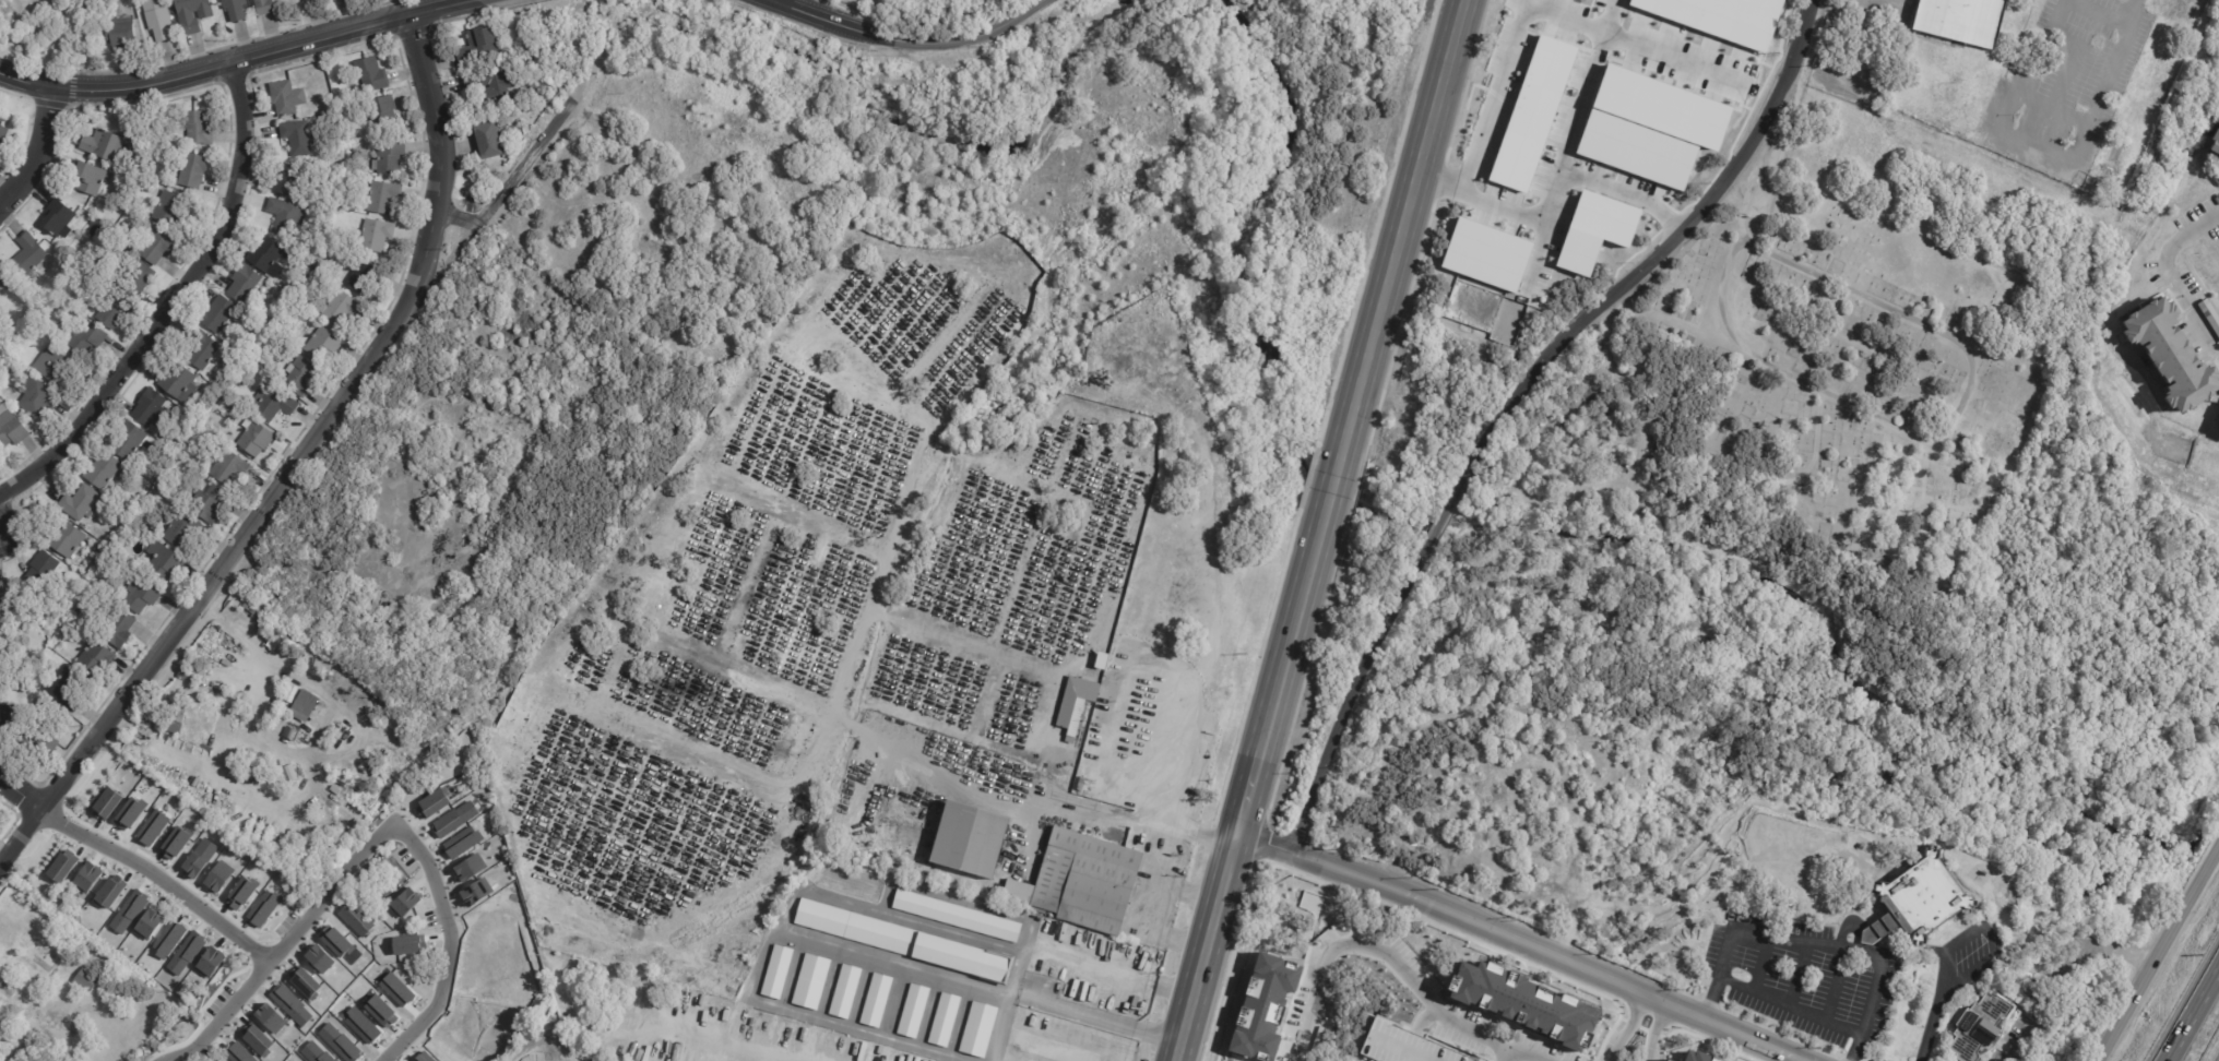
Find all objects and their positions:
building: (273, 0)
road: (775, 0)
building: (308, 1)
road: (1840, 2)
road: (1540, 7)
building: (262, 8)
building: (233, 10)
road: (2105, 10)
road: (2132, 10)
building: (192, 14)
building: (155, 19)
building: (1965, 20)
road: (828, 22)
building: (119, 33)
road: (971, 40)
road: (1838, 41)
road: (1872, 45)
building: (480, 46)
road: (237, 62)
building: (370, 74)
building: (495, 85)
road: (1583, 85)
building: (283, 97)
building: (383, 110)
building: (1532, 114)
building: (197, 127)
building: (2, 130)
road: (2003, 132)
building: (295, 136)
building: (489, 141)
building: (2214, 143)
building: (102, 144)
building: (352, 145)
road: (35, 151)
building: (388, 156)
building: (193, 169)
building: (90, 178)
building: (284, 178)
road: (511, 181)
building: (145, 187)
road: (1554, 192)
building: (383, 196)
building: (167, 210)
building: (283, 216)
building: (55, 217)
road: (1404, 228)
building: (1595, 231)
building: (376, 235)
building: (156, 245)
building: (1486, 255)
building: (27, 257)
building: (266, 258)
road: (1647, 264)
building: (137, 277)
building: (363, 277)
road: (2171, 277)
building: (3, 279)
building: (242, 283)
road: (169, 305)
building: (300, 308)
building: (343, 310)
building: (112, 311)
building: (219, 313)
building: (2209, 314)
building: (85, 337)
building: (322, 345)
park: (1868, 346)
building: (202, 351)
building: (2169, 355)
building: (51, 361)
building: (299, 377)
building: (177, 382)
building: (36, 398)
road: (882, 398)
building: (272, 403)
building: (150, 408)
building: (209, 419)
building: (11, 430)
building: (254, 439)
building: (126, 440)
building: (179, 441)
road: (295, 465)
building: (228, 467)
building: (100, 470)
road: (1332, 488)
road: (721, 490)
building: (78, 503)
building: (207, 504)
road: (1036, 513)
road: (1440, 524)
building: (181, 528)
railway: (1337, 529)
building: (63, 541)
building: (98, 552)
building: (162, 562)
building: (40, 571)
building: (140, 596)
building: (10, 603)
building: (375, 606)
building: (252, 610)
road: (866, 610)
building: (260, 627)
building: (119, 630)
building: (390, 633)
building: (210, 652)
building: (95, 658)
road: (1022, 660)
building: (35, 668)
building: (188, 672)
road: (1093, 672)
building: (236, 675)
building: (244, 683)
road: (1186, 686)
building: (64, 688)
road: (1356, 691)
building: (287, 702)
building: (305, 704)
building: (10, 714)
building: (174, 716)
building: (1077, 718)
building: (295, 724)
road: (359, 734)
road: (239, 735)
road: (667, 738)
building: (43, 741)
road: (925, 768)
road: (1248, 789)
road: (20, 794)
building: (107, 804)
building: (432, 804)
road: (1057, 807)
building: (0, 811)
building: (130, 814)
building: (454, 820)
building: (152, 827)
building: (1044, 836)
building: (966, 838)
building: (462, 843)
building: (175, 844)
parking lot: (405, 857)
building: (200, 858)
building: (63, 867)
building: (471, 868)
building: (88, 877)
building: (218, 877)
road: (159, 878)
road: (532, 879)
building: (1082, 882)
building: (110, 892)
building: (476, 893)
building: (240, 894)
road: (796, 897)
power tower: (2138, 902)
building: (404, 903)
building: (1923, 903)
road: (1143, 905)
building: (263, 908)
building: (129, 913)
building: (956, 917)
parking lot: (430, 918)
building: (356, 920)
parking lot: (284, 923)
building: (149, 925)
road: (294, 933)
road: (1377, 933)
road: (1984, 933)
building: (169, 938)
building: (335, 941)
building: (905, 942)
road: (1522, 942)
road: (449, 944)
road: (1814, 944)
building: (410, 945)
building: (186, 954)
road: (2159, 954)
building: (45, 958)
building: (320, 958)
building: (211, 963)
road: (898, 963)
road: (1109, 968)
building: (778, 971)
road: (793, 971)
parking lot: (1801, 975)
building: (2, 977)
building: (85, 981)
building: (304, 981)
building: (811, 982)
road: (830, 982)
road: (2079, 982)
building: (396, 990)
building: (845, 991)
road: (863, 991)
building: (877, 1000)
road: (894, 1001)
road: (1063, 1003)
road: (1791, 1004)
building: (290, 1005)
building: (381, 1011)
building: (914, 1011)
road: (929, 1011)
road: (2191, 1012)
building: (270, 1017)
building: (945, 1020)
road: (960, 1020)
road: (1932, 1023)
building: (361, 1026)
building: (1019, 1026)
building: (1974, 1026)
building: (978, 1029)
road: (1641, 1029)
building: (257, 1039)
road: (715, 1041)
building: (340, 1044)
building: (1049, 1048)
road: (1409, 1049)
building: (315, 1052)
building: (239, 1053)
road: (1518, 1053)
road: (181, 1054)
building: (425, 1057)
building: (929, 1060)

